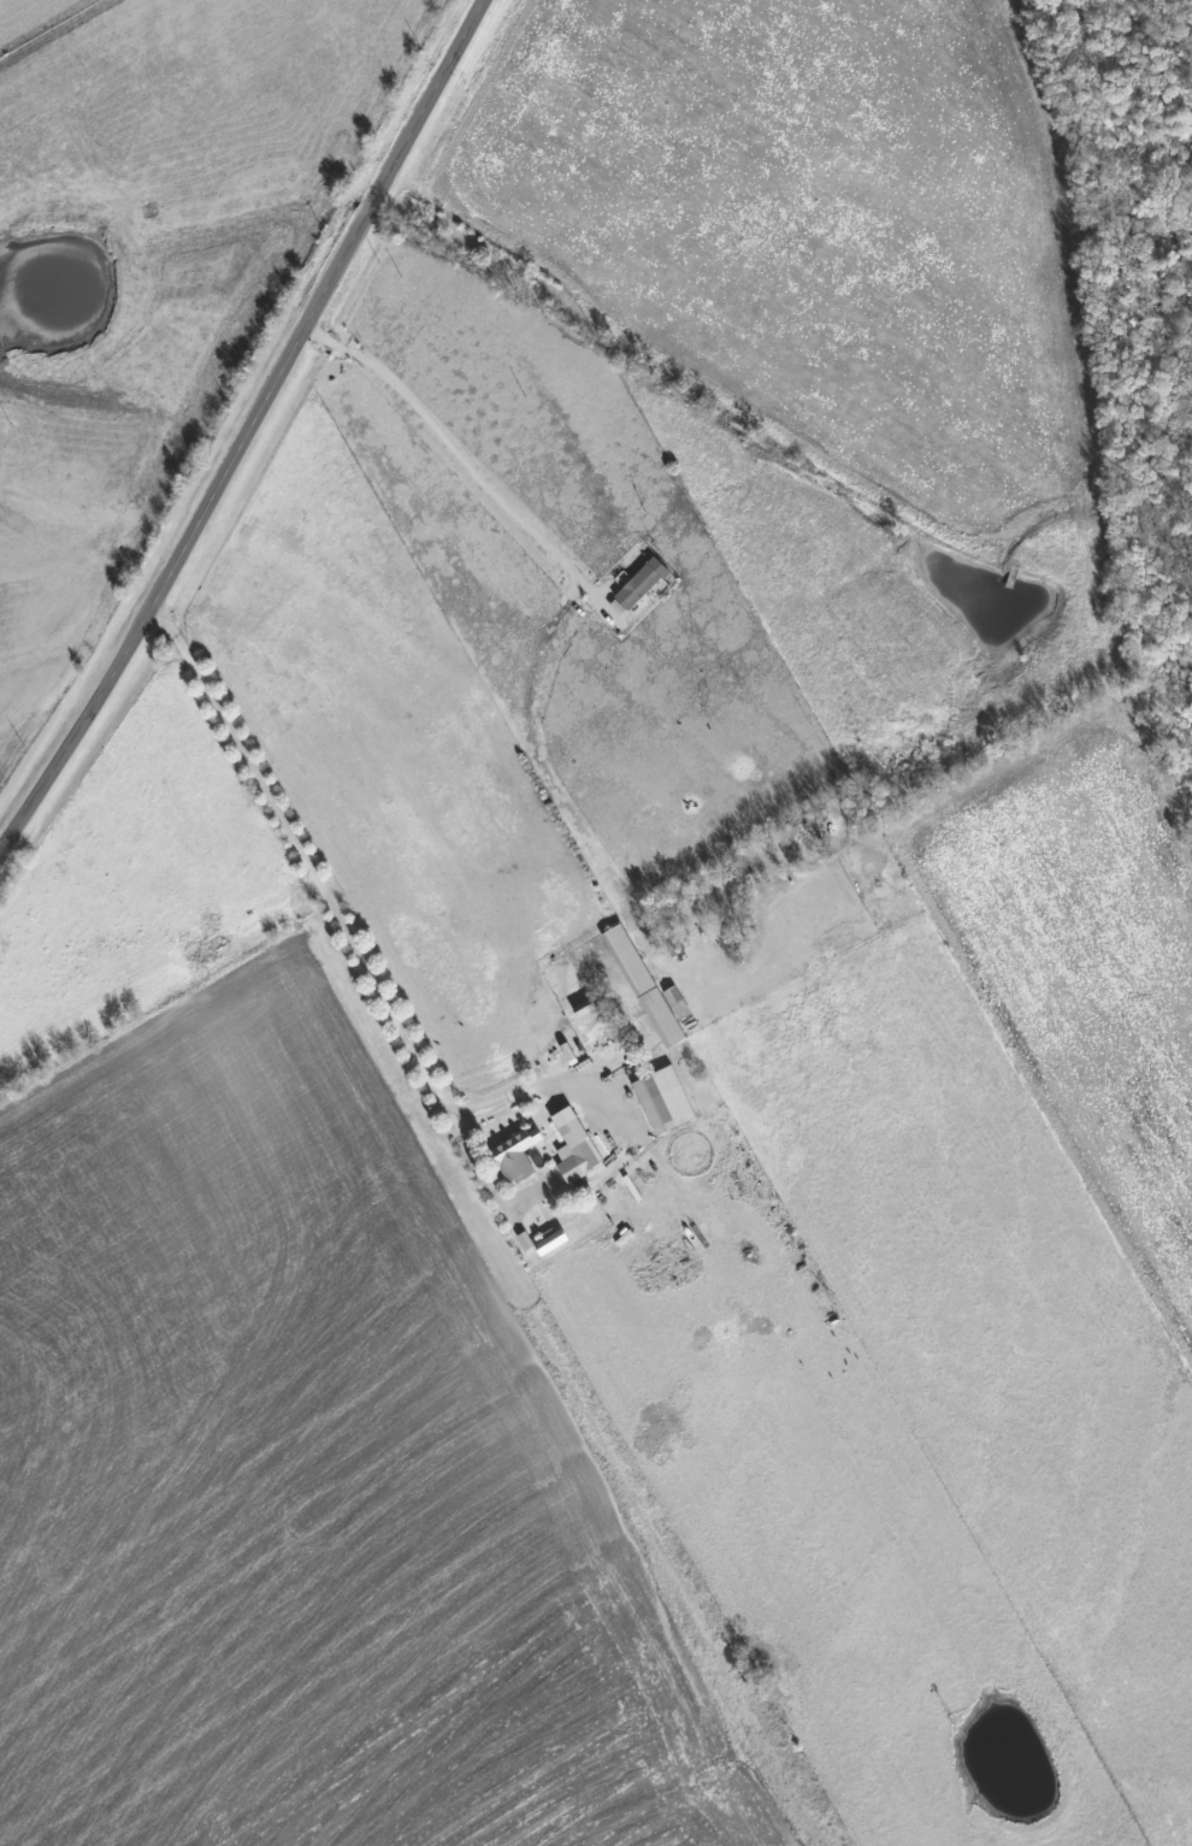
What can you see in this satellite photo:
road: (244, 420)
road: (458, 442)
building: (632, 584)
road: (342, 928)
building: (582, 1010)
building: (660, 1010)
road: (512, 1092)
building: (656, 1097)
building: (509, 1151)
building: (578, 1151)

